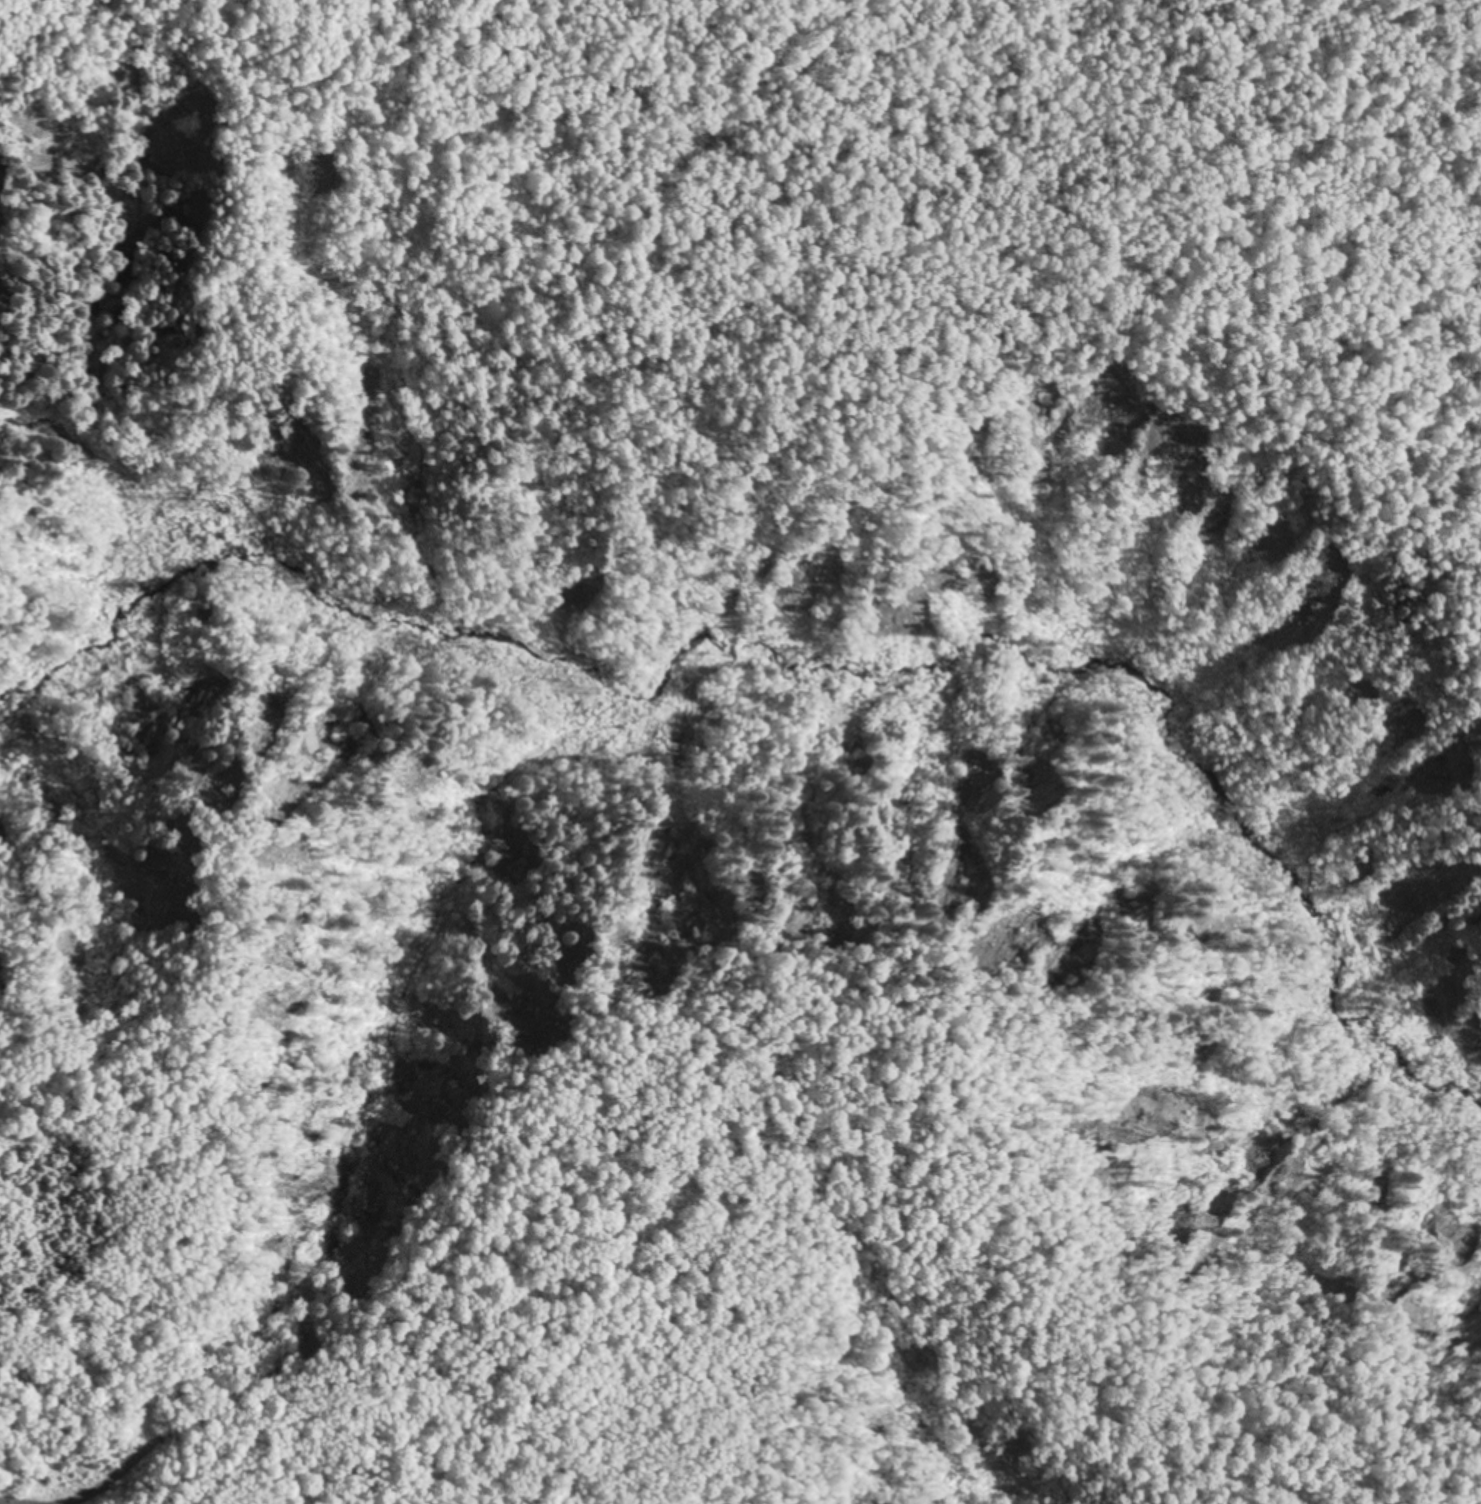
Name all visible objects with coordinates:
road: (1, 1503)

